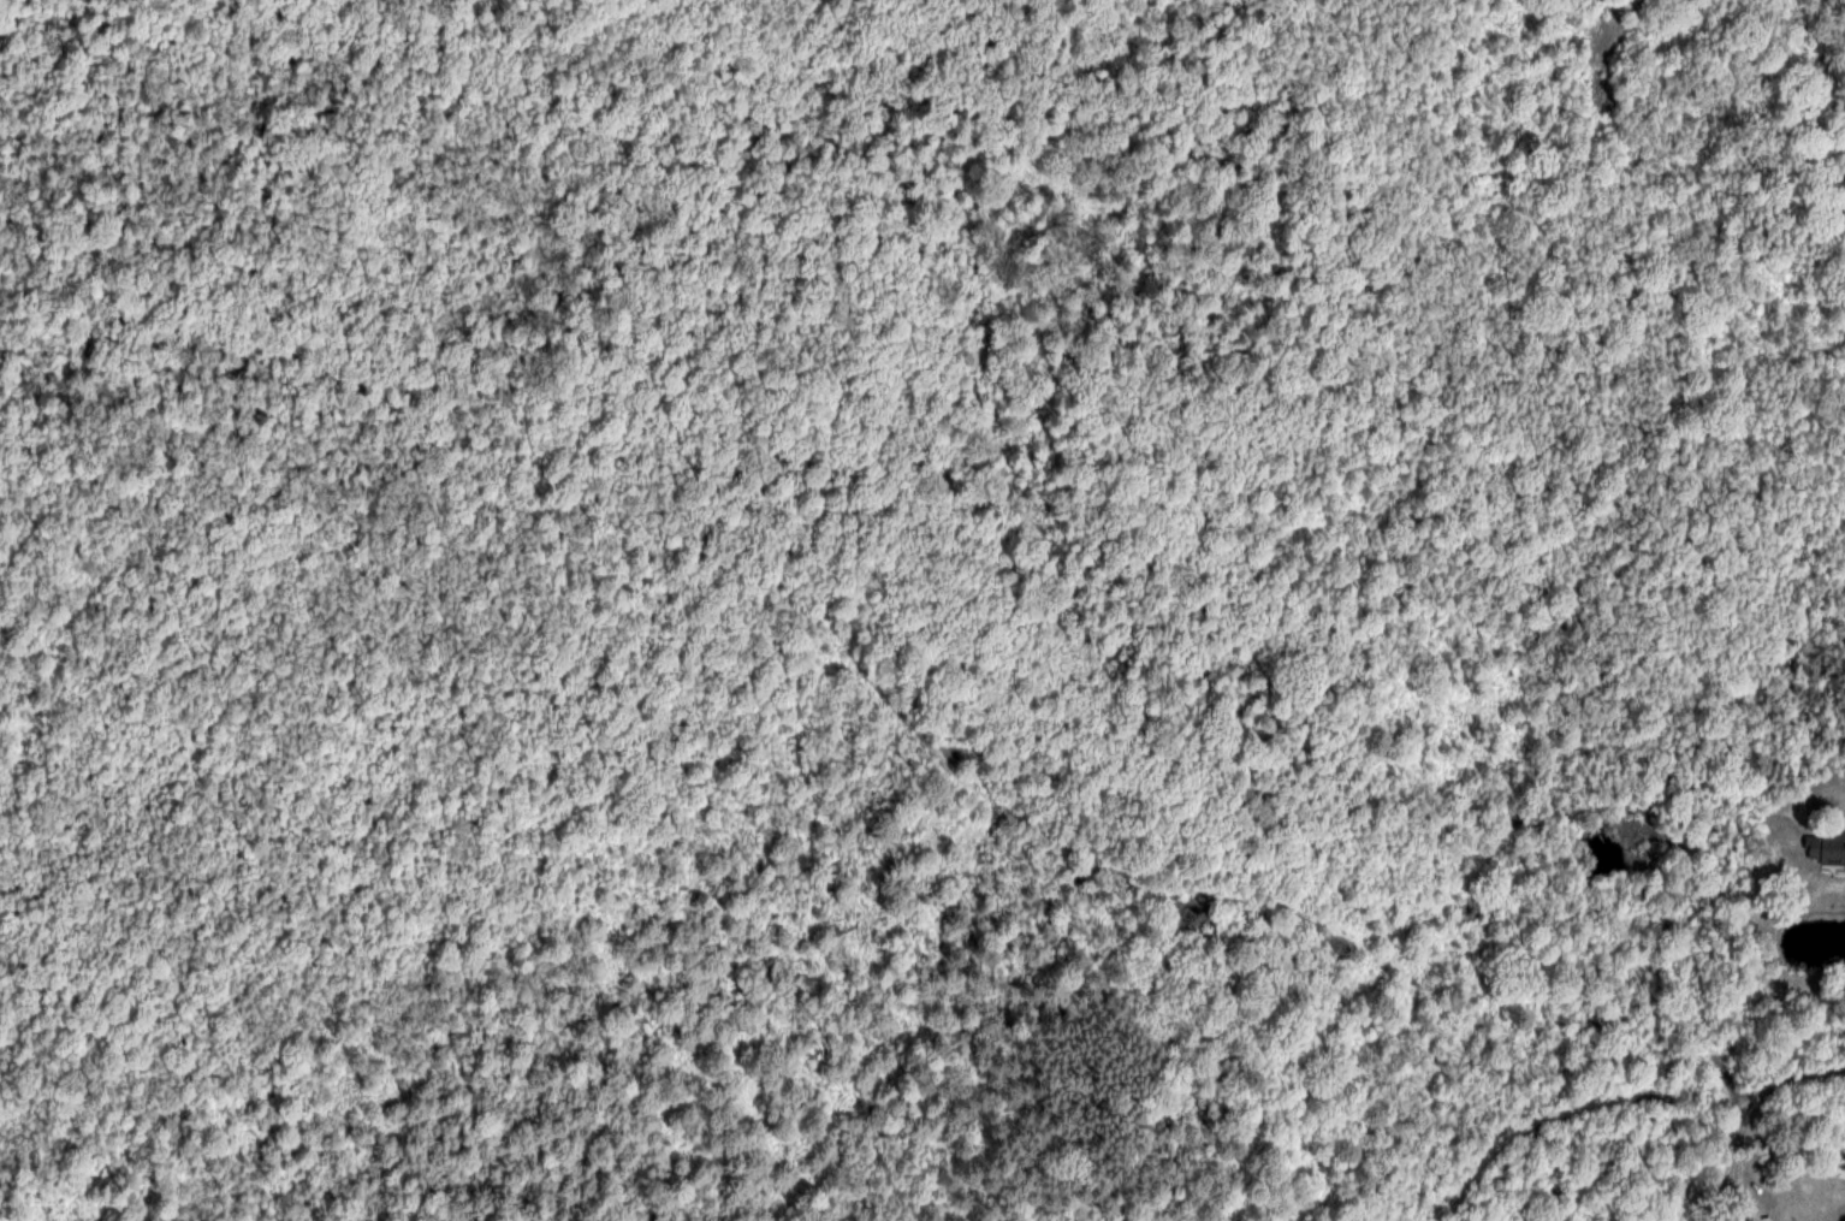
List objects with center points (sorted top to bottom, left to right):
building: (1825, 846)
building: (1752, 1211)

